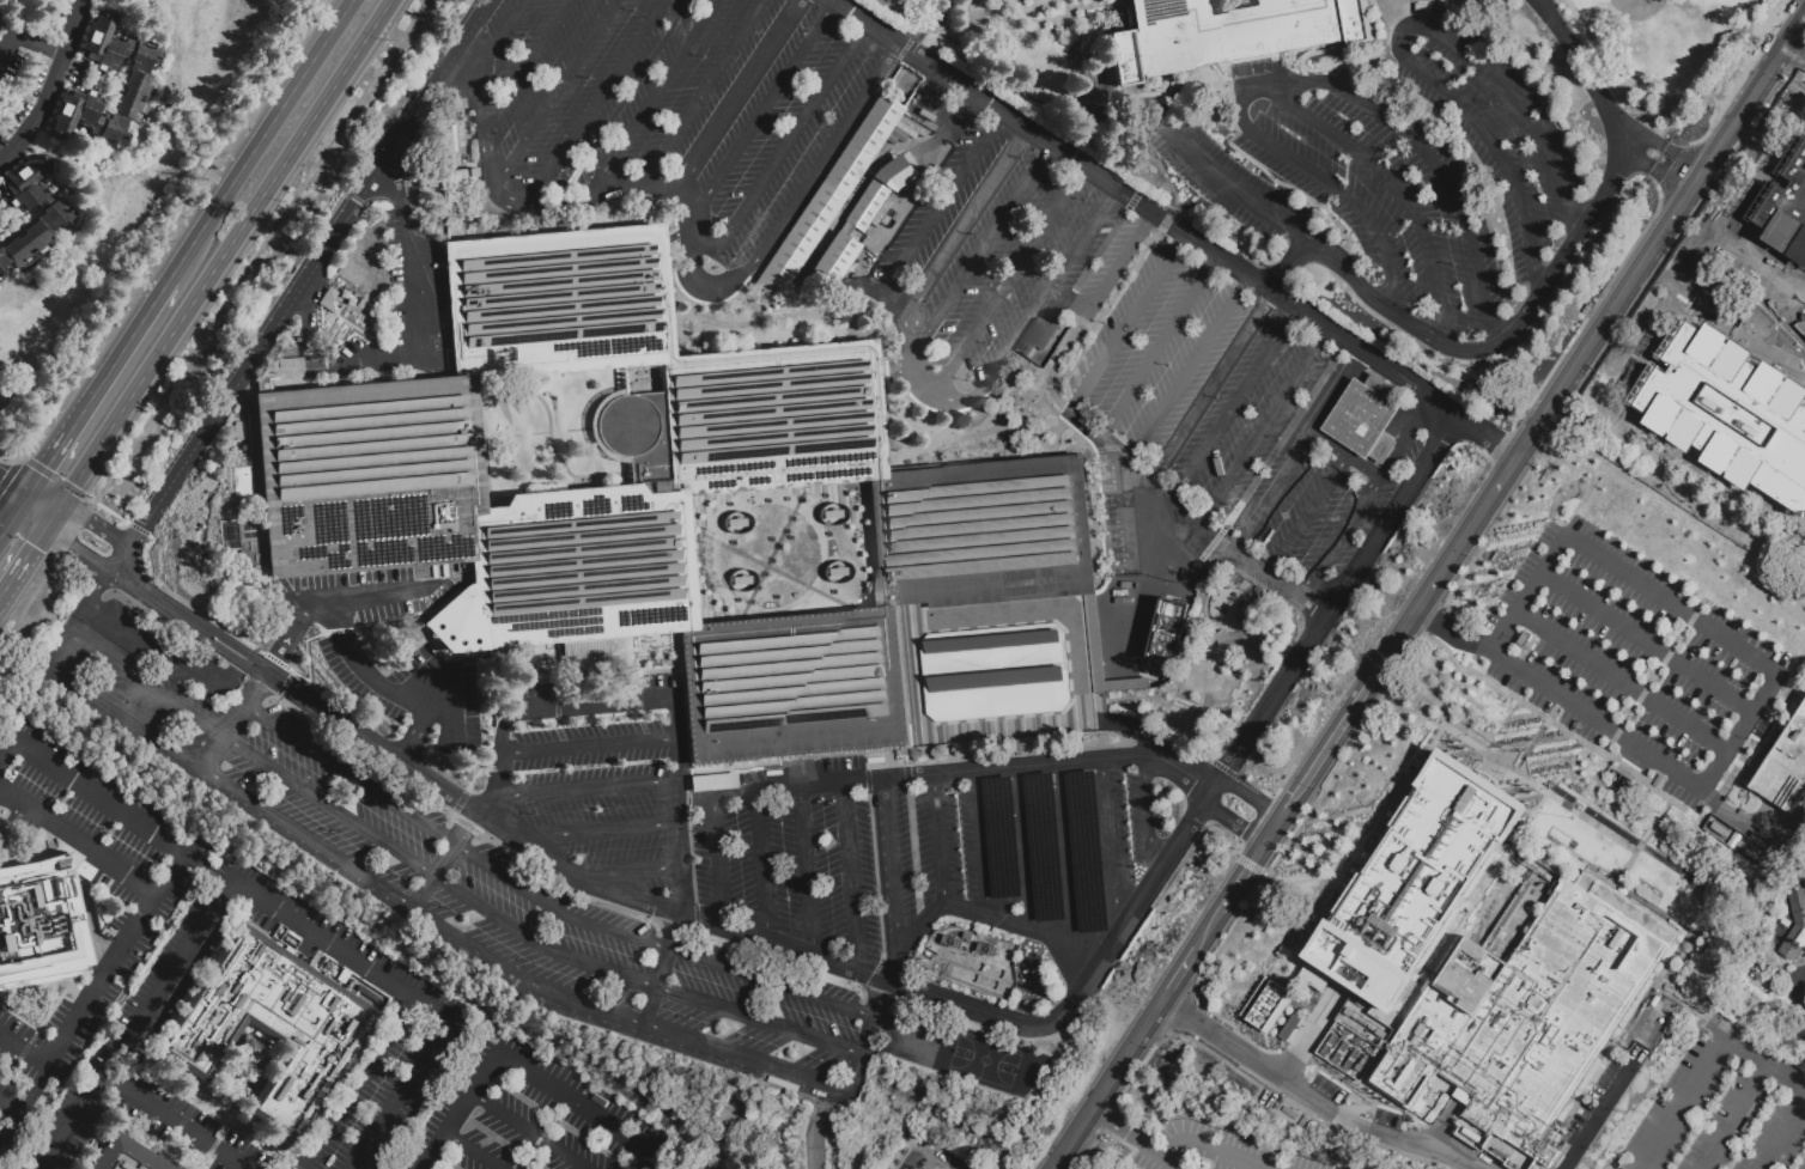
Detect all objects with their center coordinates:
road: (480, 14)
road: (942, 29)
building: (1227, 34)
road: (499, 36)
road: (28, 38)
road: (1398, 41)
park: (1670, 55)
road: (1794, 55)
road: (1505, 56)
road: (1714, 59)
road: (1374, 63)
road: (528, 66)
road: (1311, 71)
road: (1585, 73)
road: (1611, 77)
building: (138, 81)
road: (1308, 83)
road: (50, 86)
road: (705, 89)
road: (1221, 93)
road: (554, 95)
road: (737, 96)
road: (651, 97)
road: (596, 103)
road: (759, 115)
road: (1669, 127)
building: (913, 128)
road: (484, 130)
road: (1130, 134)
road: (251, 136)
building: (914, 136)
road: (1651, 147)
road: (779, 150)
road: (1640, 152)
road: (1670, 154)
building: (1655, 157)
road: (824, 158)
building: (908, 162)
road: (1639, 165)
road: (391, 172)
road: (1314, 172)
building: (893, 173)
road: (819, 175)
road: (1666, 176)
road: (649, 179)
road: (1282, 182)
road: (1228, 185)
road: (364, 189)
building: (832, 191)
road: (944, 199)
road: (559, 200)
building: (865, 205)
road: (1144, 206)
building: (55, 212)
road: (968, 215)
road: (1167, 221)
building: (1791, 246)
road: (981, 250)
road: (224, 256)
building: (833, 258)
road: (1337, 263)
road: (1288, 264)
road: (1009, 279)
road: (695, 284)
road: (1107, 284)
road: (1046, 290)
road: (899, 294)
road: (310, 303)
road: (849, 306)
road: (417, 312)
road: (1063, 312)
road: (1611, 312)
road: (212, 322)
road: (1128, 322)
building: (1799, 322)
road: (679, 324)
road: (852, 324)
road: (1094, 324)
road: (122, 335)
road: (1501, 340)
building: (1038, 341)
road: (1160, 345)
road: (1513, 346)
road: (911, 351)
building: (286, 365)
road: (1189, 367)
building: (882, 371)
road: (1213, 384)
road: (1335, 392)
road: (956, 398)
building: (1748, 400)
road: (1236, 402)
building: (1367, 421)
road: (1266, 425)
road: (1487, 436)
road: (897, 440)
road: (1405, 440)
road: (51, 444)
road: (194, 446)
road: (1342, 458)
traffic signals: (39, 463)
traffic signals: (0, 479)
road: (11, 483)
road: (1271, 491)
road: (38, 501)
building: (657, 503)
road: (11, 506)
road: (1198, 513)
road: (1306, 516)
traffic signals: (87, 519)
road: (95, 524)
road: (1341, 541)
traffic signals: (35, 546)
road: (77, 548)
road: (28, 555)
road: (122, 559)
road: (1156, 566)
building: (1201, 572)
building: (1197, 584)
road: (98, 586)
road: (371, 595)
road: (1338, 596)
road: (160, 602)
road: (1672, 605)
building: (1232, 609)
road: (1453, 629)
building: (1165, 631)
road: (1400, 633)
road: (290, 637)
road: (142, 639)
building: (1181, 641)
building: (1525, 641)
road: (1649, 641)
parking lot: (1646, 645)
road: (241, 649)
road: (71, 658)
road: (233, 658)
road: (363, 668)
building: (996, 676)
building: (1159, 677)
road: (1623, 680)
road: (224, 688)
road: (434, 688)
road: (600, 702)
road: (440, 712)
road: (232, 720)
road: (1596, 720)
road: (1135, 729)
road: (1325, 733)
road: (415, 736)
road: (1538, 737)
building: (948, 741)
road: (372, 742)
road: (1337, 742)
road: (590, 744)
road: (1424, 749)
road: (8, 751)
building: (968, 754)
building: (950, 755)
building: (931, 756)
road: (1065, 762)
building: (1786, 772)
road: (351, 773)
road: (1508, 781)
road: (812, 784)
road: (1215, 785)
road: (583, 786)
road: (99, 796)
road: (1207, 797)
road: (1248, 797)
road: (479, 808)
road: (1197, 811)
road: (1740, 815)
road: (1148, 817)
road: (1232, 823)
road: (1269, 829)
road: (1651, 829)
road: (592, 830)
building: (1719, 830)
road: (938, 839)
road: (78, 840)
road: (983, 845)
road: (1110, 846)
building: (1761, 846)
road: (1025, 851)
road: (1068, 857)
road: (718, 859)
building: (1752, 859)
road: (674, 863)
road: (892, 864)
road: (761, 865)
road: (622, 870)
road: (807, 870)
road: (171, 872)
road: (851, 877)
road: (1239, 877)
building: (1417, 881)
building: (41, 924)
road: (922, 926)
road: (1022, 930)
road: (1205, 930)
building: (1795, 931)
road: (657, 944)
road: (341, 949)
road: (894, 964)
road: (1178, 974)
road: (874, 976)
road: (89, 1000)
building: (1265, 1005)
building: (1529, 1013)
road: (1209, 1015)
road: (136, 1023)
building: (268, 1024)
road: (1202, 1027)
building: (1362, 1027)
building: (1289, 1029)
building: (1655, 1036)
road: (1193, 1039)
road: (1192, 1041)
road: (864, 1042)
road: (955, 1043)
road: (24, 1049)
road: (1296, 1054)
road: (1707, 1066)
road: (954, 1071)
road: (517, 1072)
road: (354, 1082)
road: (1107, 1083)
road: (400, 1094)
road: (1308, 1098)
road: (10, 1102)
road: (1734, 1114)
road: (1106, 1119)
road: (1597, 1119)
road: (176, 1121)
road: (10, 1125)
road: (819, 1126)
road: (529, 1131)
road: (1782, 1134)
road: (1131, 1138)
road: (1189, 1144)
road: (1087, 1149)
road: (468, 1152)
road: (529, 1153)
power substation: (922, 1153)
building: (126, 1156)
road: (905, 1159)
road: (1241, 1161)
road: (650, 1163)
road: (1175, 1167)

